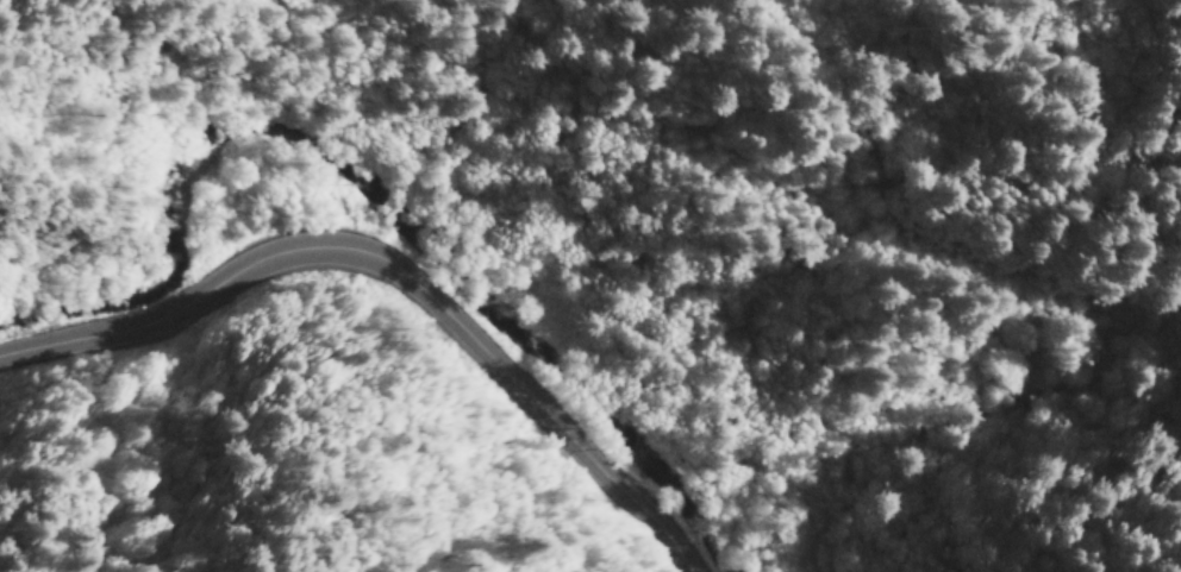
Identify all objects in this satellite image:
road: (1164, 12)
road: (912, 98)
road: (393, 272)

